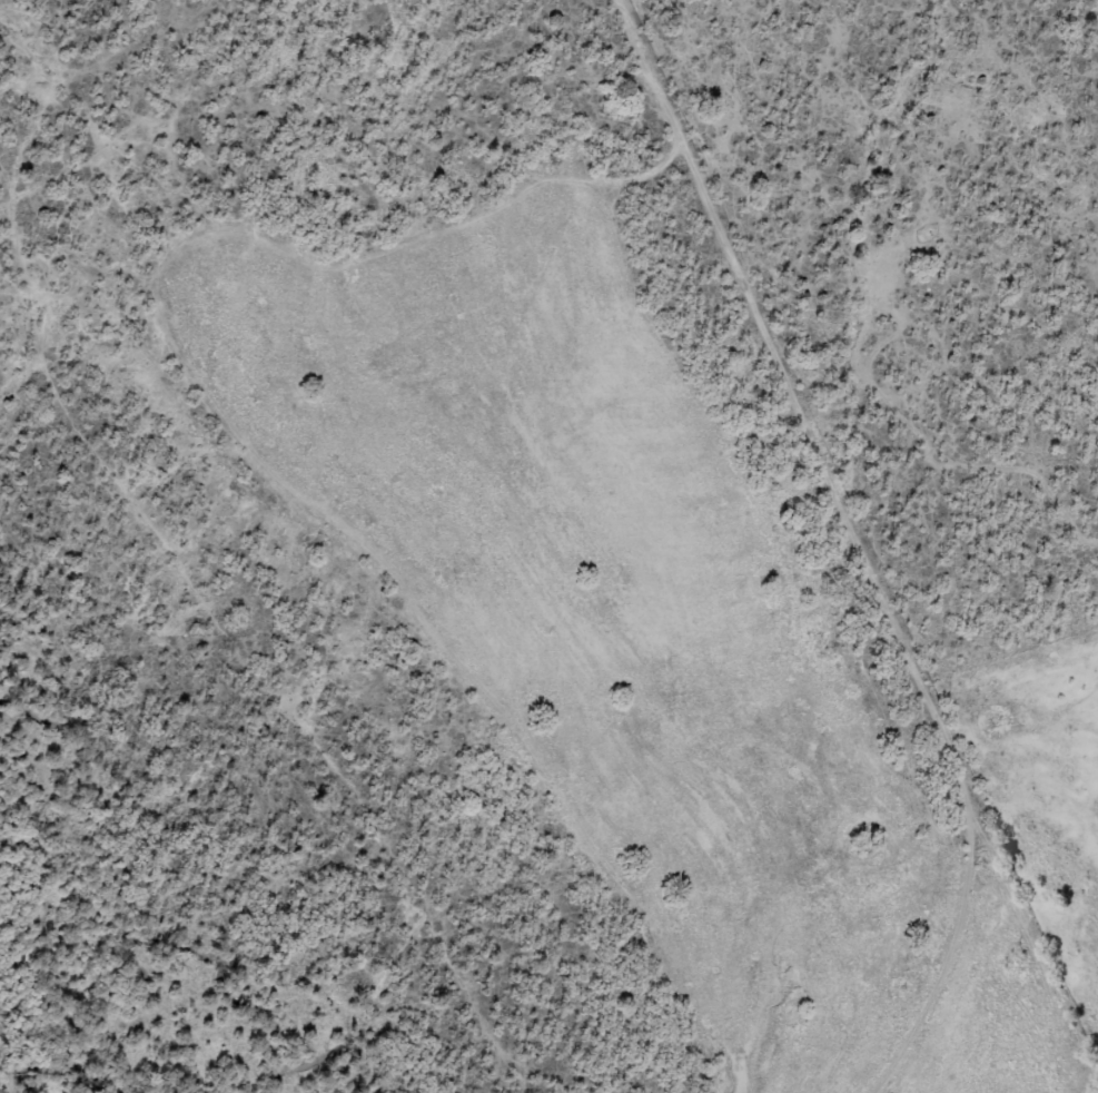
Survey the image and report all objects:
road: (122, 78)
road: (17, 89)
road: (929, 544)
road: (285, 612)

